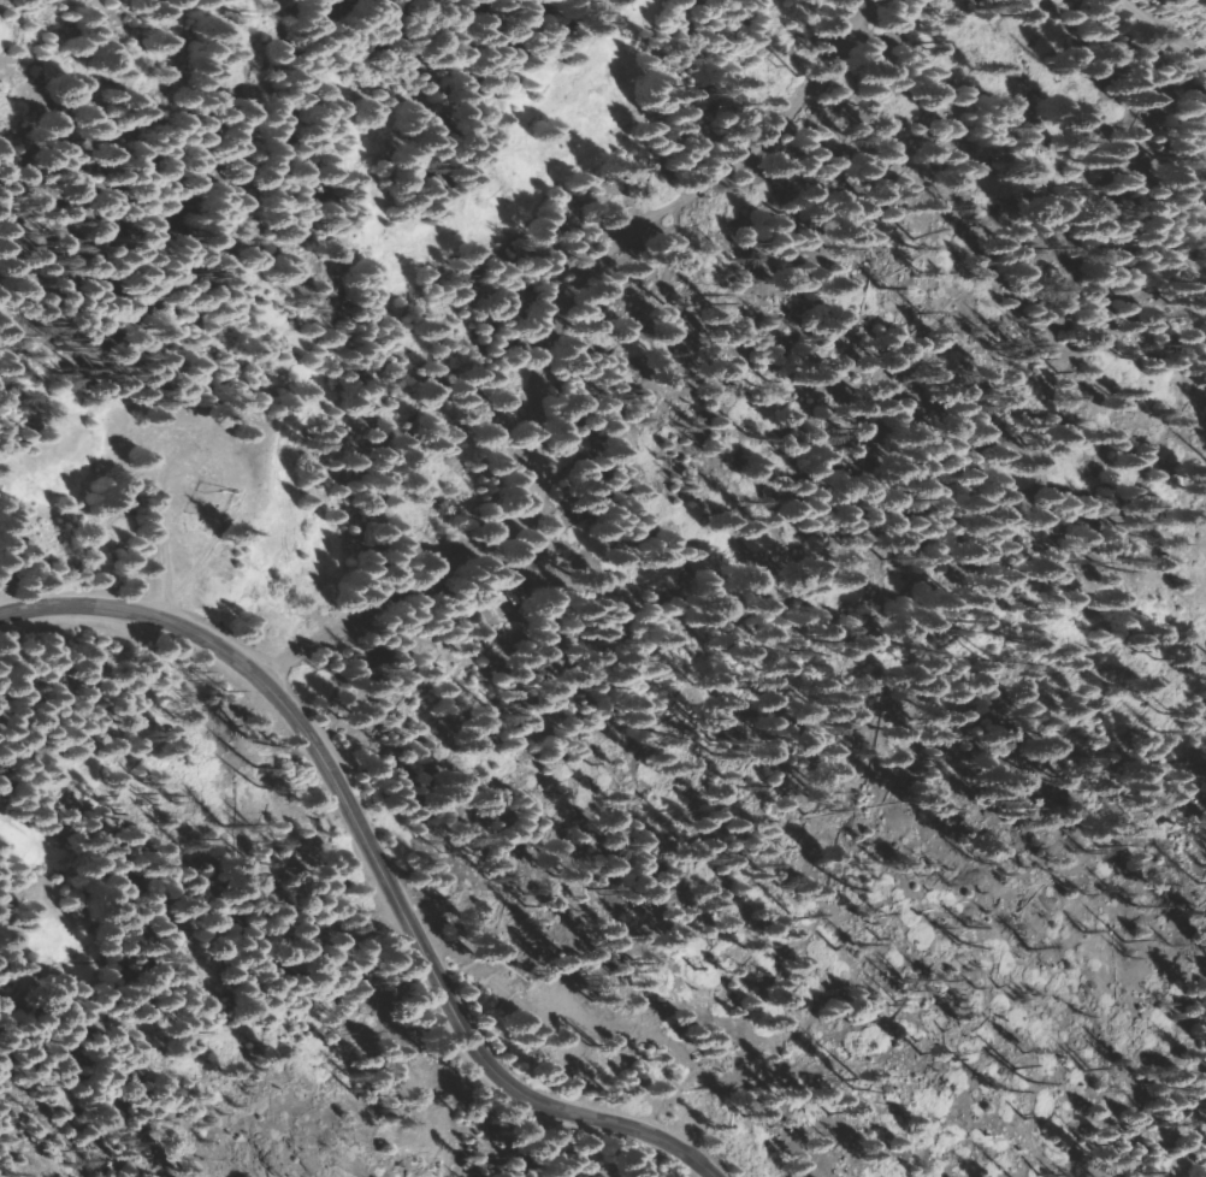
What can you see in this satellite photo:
road: (1072, 54)
road: (575, 407)
road: (214, 449)
road: (194, 634)
road: (477, 1029)

